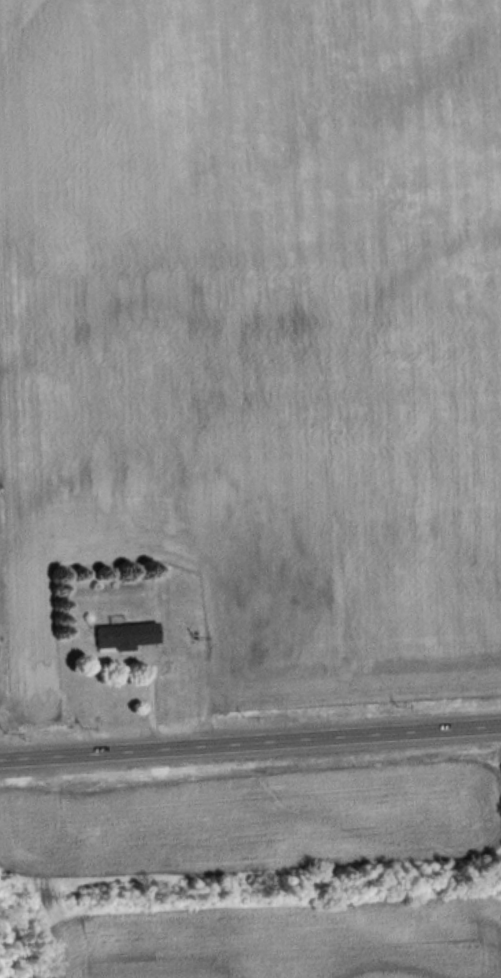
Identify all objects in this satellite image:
building: (127, 638)
road: (250, 740)

